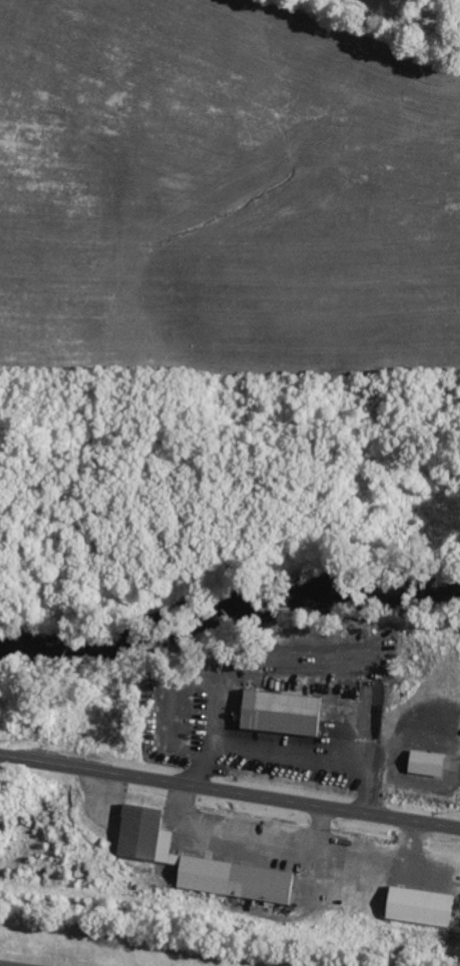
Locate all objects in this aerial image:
building: (279, 713)
building: (424, 763)
road: (230, 792)
building: (196, 862)
building: (416, 907)

